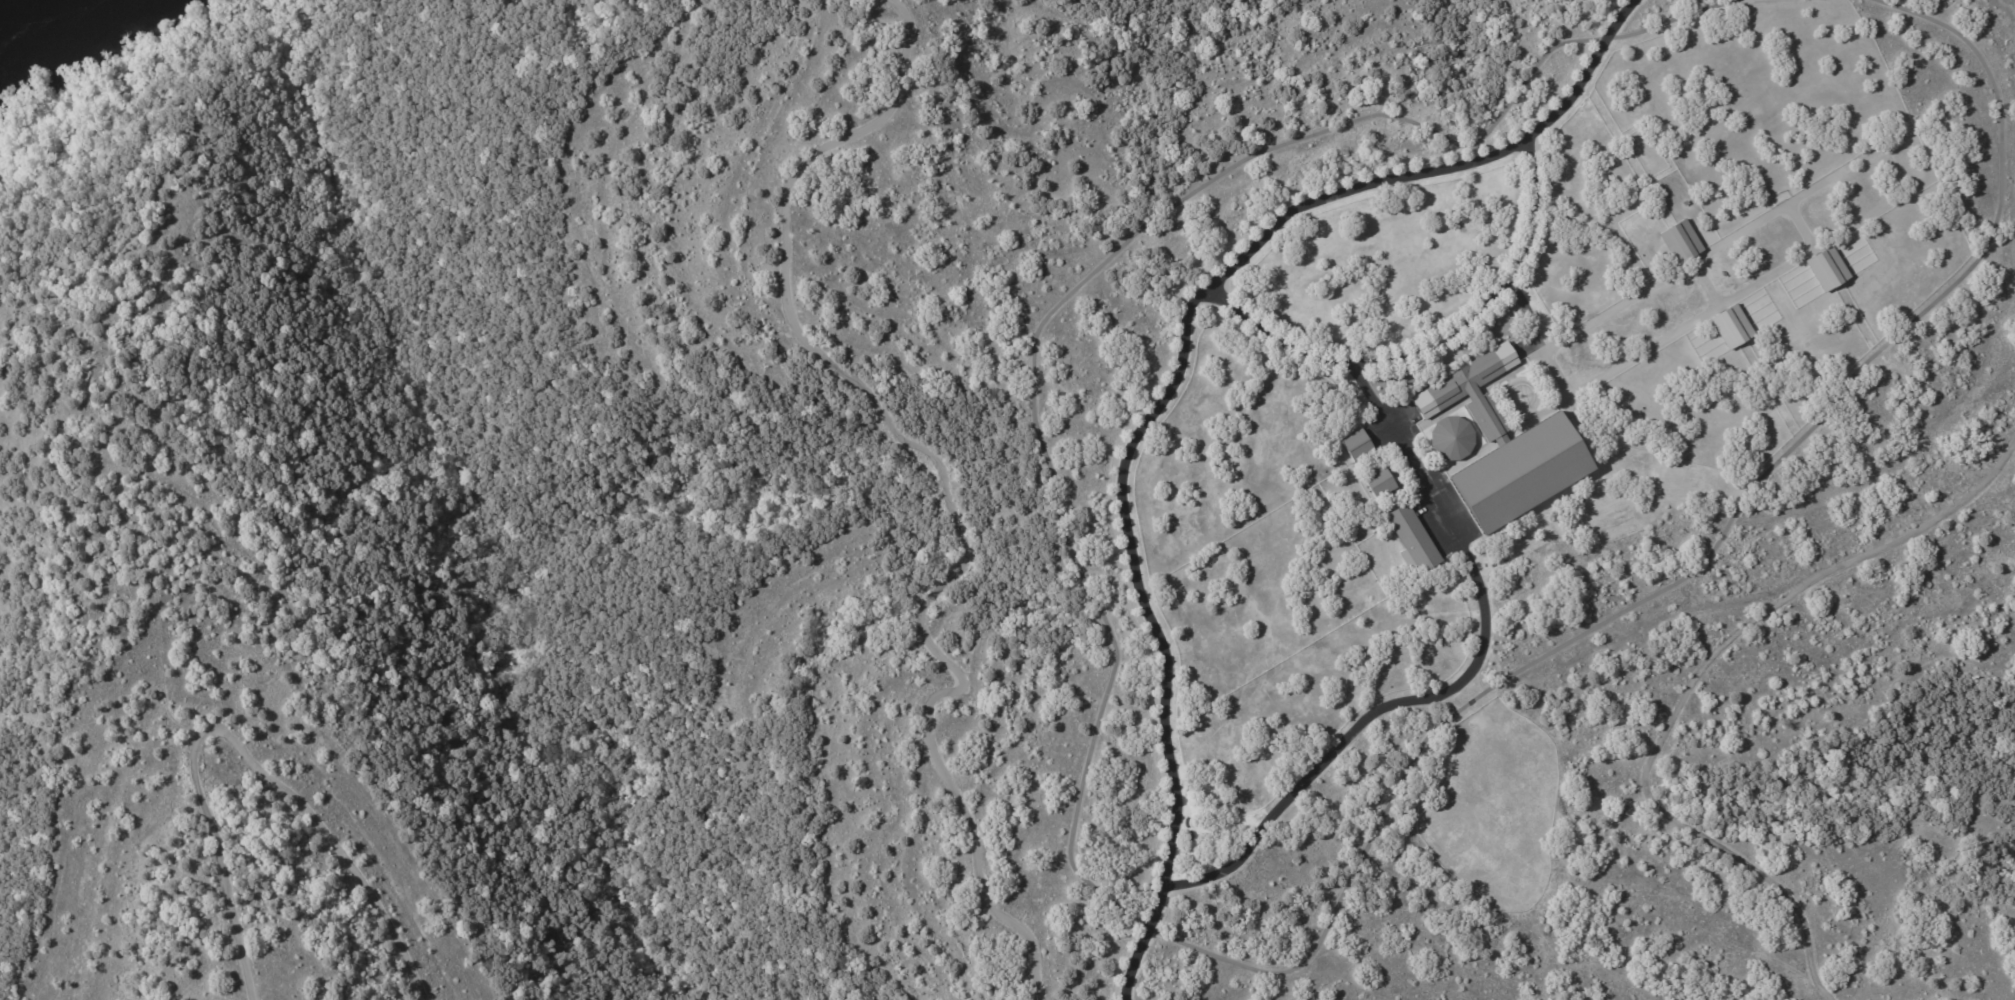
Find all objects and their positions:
building: (1679, 241)
road: (1693, 266)
building: (1839, 305)
building: (1732, 327)
road: (1436, 346)
building: (1783, 352)
road: (1175, 385)
building: (1453, 440)
building: (1358, 447)
building: (1500, 455)
building: (1380, 484)
building: (1413, 539)
road: (1448, 685)
road: (1693, 686)

